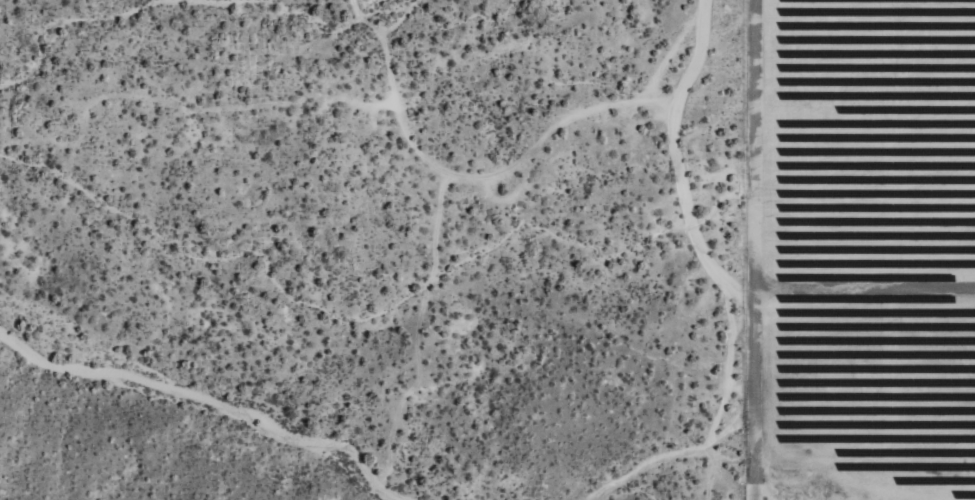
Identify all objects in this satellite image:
solar farm: (862, 249)
road: (742, 290)
road: (199, 406)

